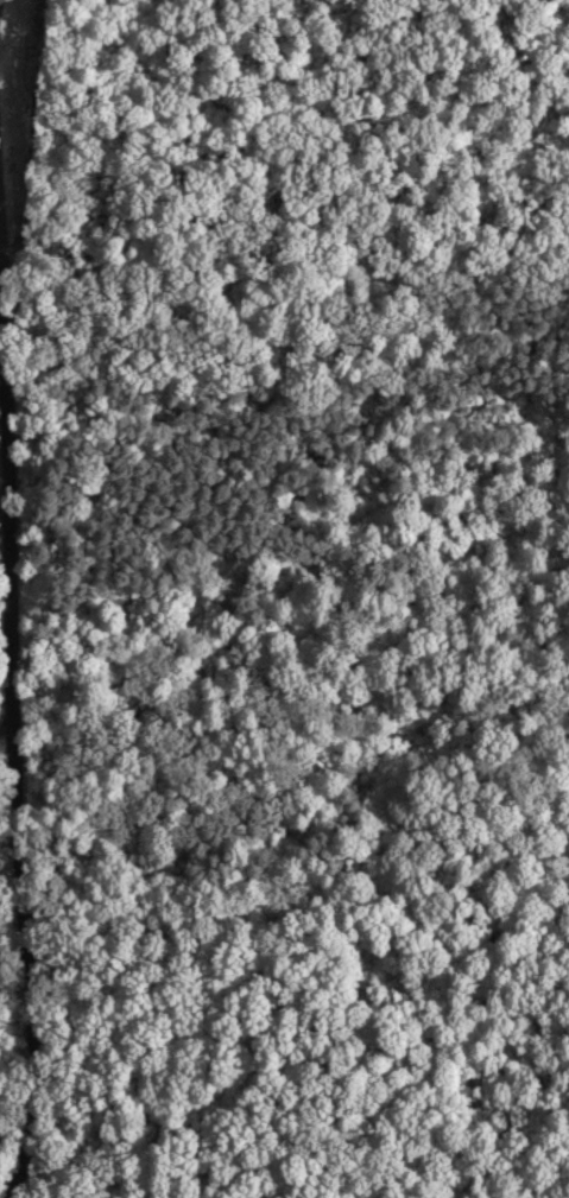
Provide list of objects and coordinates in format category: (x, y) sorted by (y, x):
road: (2, 21)
road: (15, 541)

